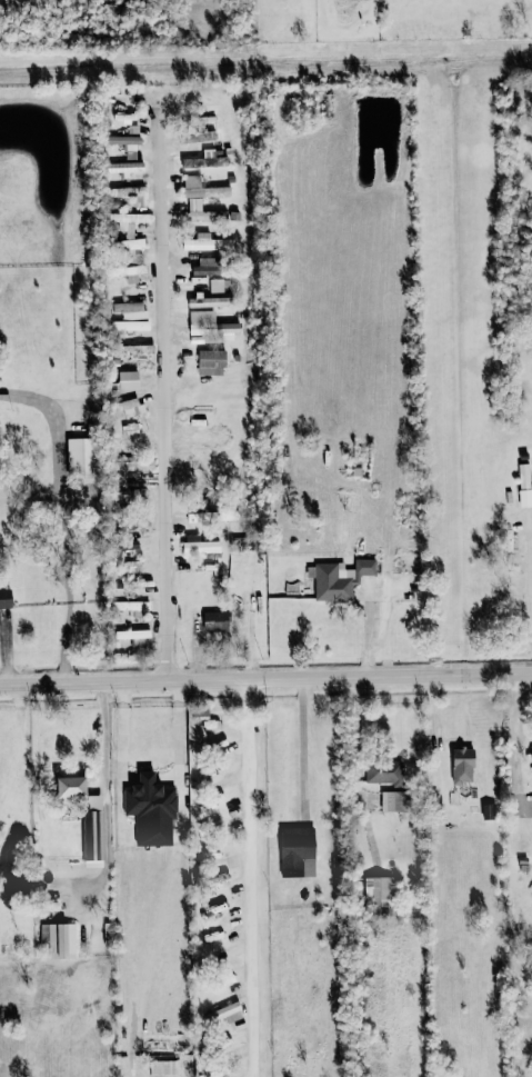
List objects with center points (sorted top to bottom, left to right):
building: (197, 136)
building: (128, 140)
building: (204, 160)
building: (124, 168)
building: (202, 189)
building: (130, 193)
building: (202, 212)
building: (129, 237)
building: (207, 243)
building: (207, 267)
building: (128, 272)
building: (208, 301)
building: (130, 310)
building: (211, 325)
building: (131, 326)
building: (132, 349)
building: (211, 362)
road: (289, 370)
building: (128, 380)
road: (161, 397)
building: (131, 407)
building: (81, 458)
building: (133, 465)
building: (212, 516)
road: (64, 519)
building: (201, 547)
building: (340, 579)
road: (531, 585)
building: (6, 598)
building: (130, 606)
building: (215, 620)
building: (134, 637)
road: (265, 675)
road: (181, 690)
road: (124, 692)
road: (108, 737)
road: (518, 739)
road: (307, 745)
road: (124, 747)
road: (182, 748)
building: (531, 758)
building: (462, 766)
building: (383, 771)
road: (151, 777)
building: (70, 784)
building: (393, 801)
building: (152, 807)
building: (488, 811)
building: (92, 836)
building: (297, 852)
road: (357, 875)
road: (248, 876)
building: (379, 892)
building: (60, 939)
building: (227, 1013)

